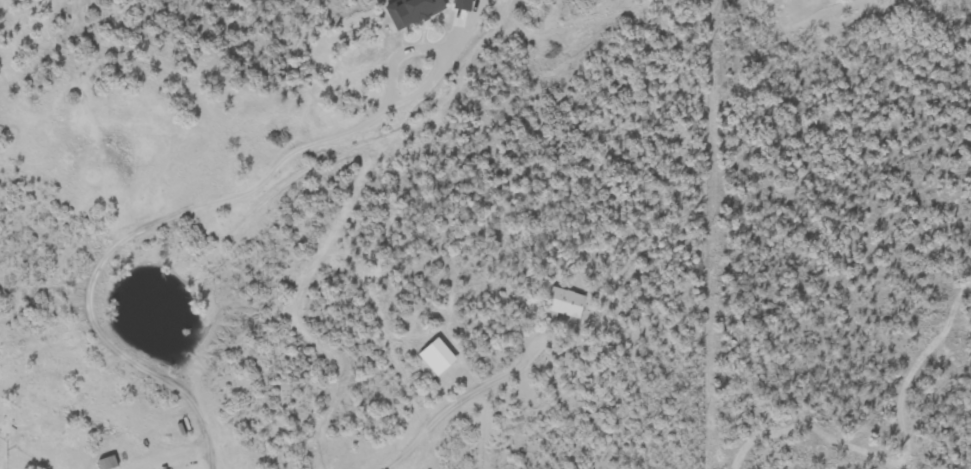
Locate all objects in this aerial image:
road: (183, 217)
building: (562, 303)
road: (457, 395)

